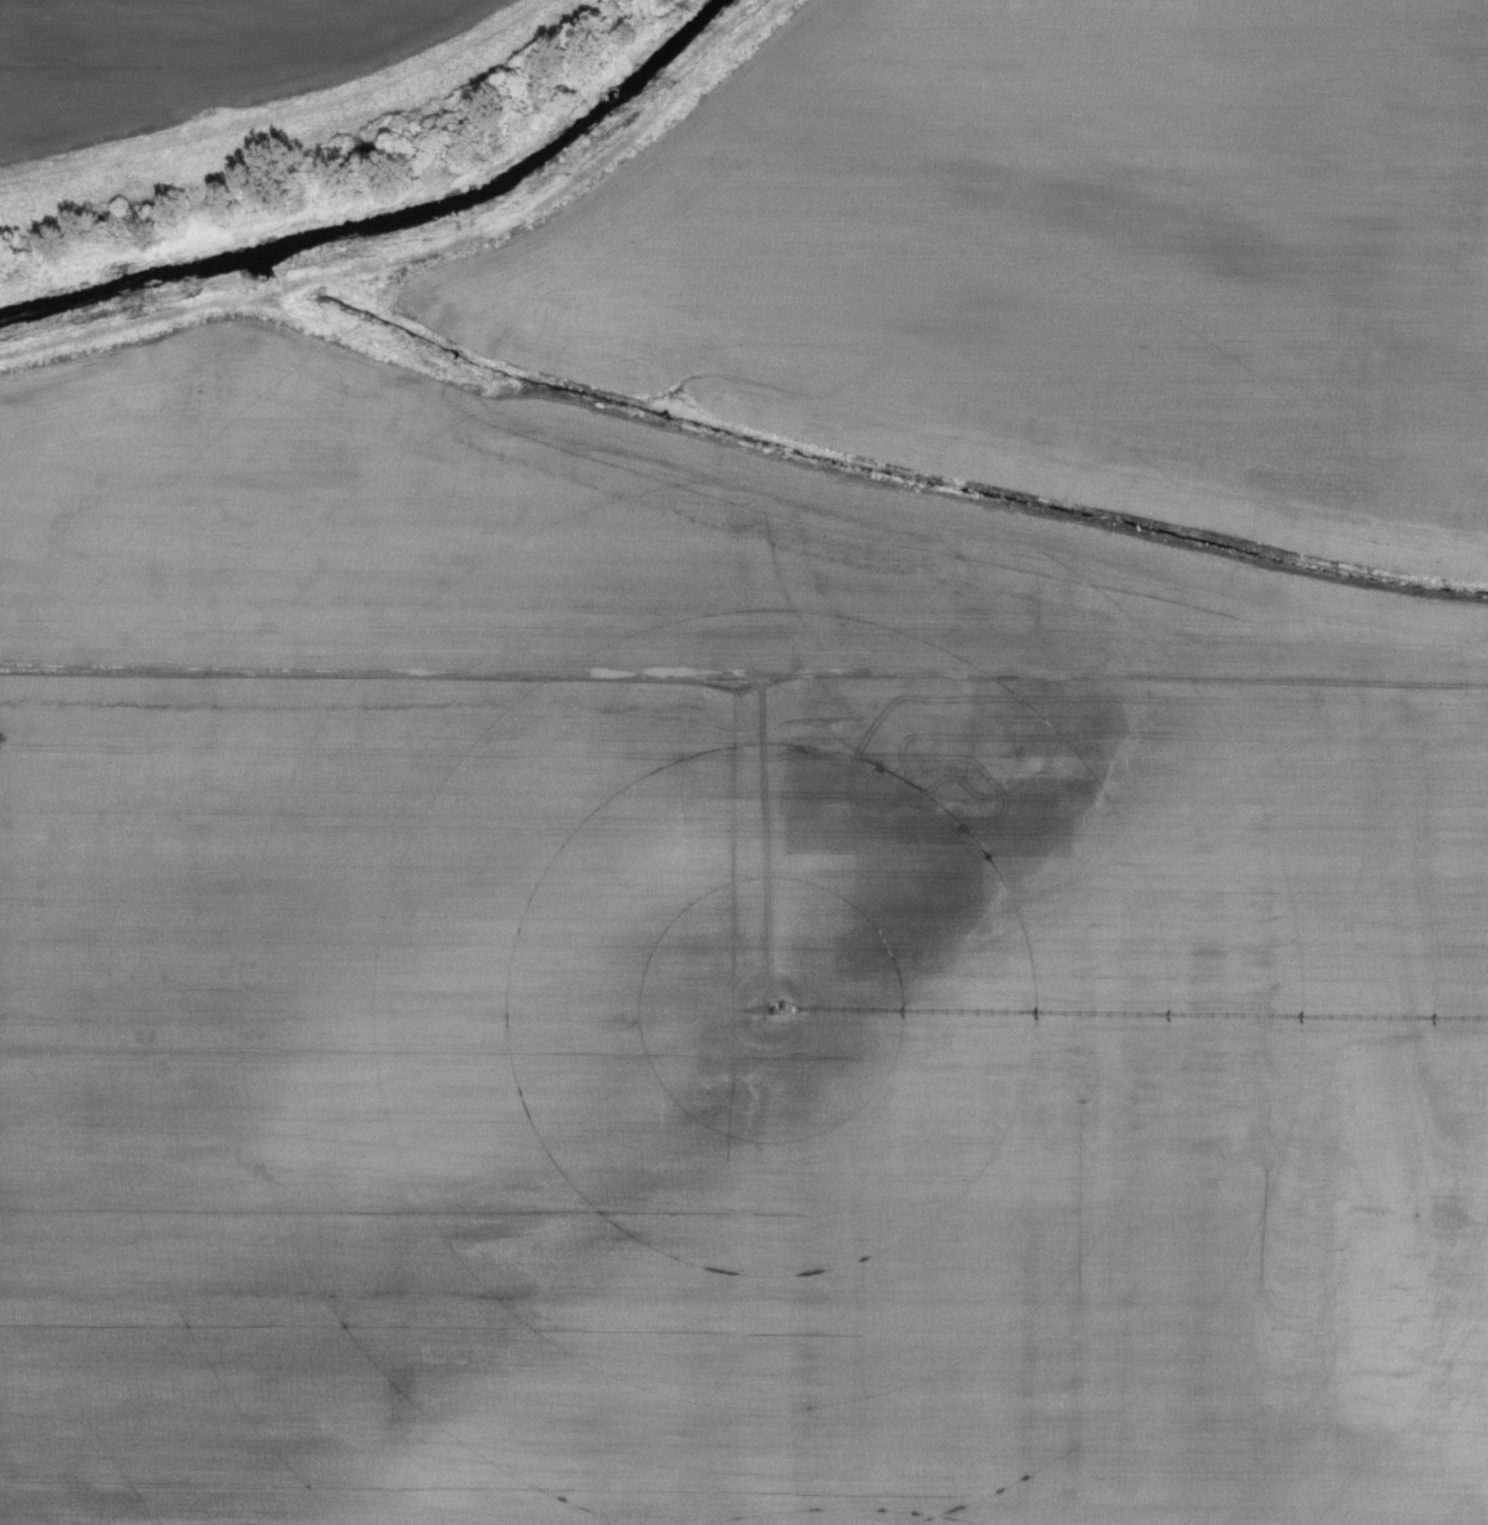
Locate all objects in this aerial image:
river: (392, 219)
road: (744, 681)

